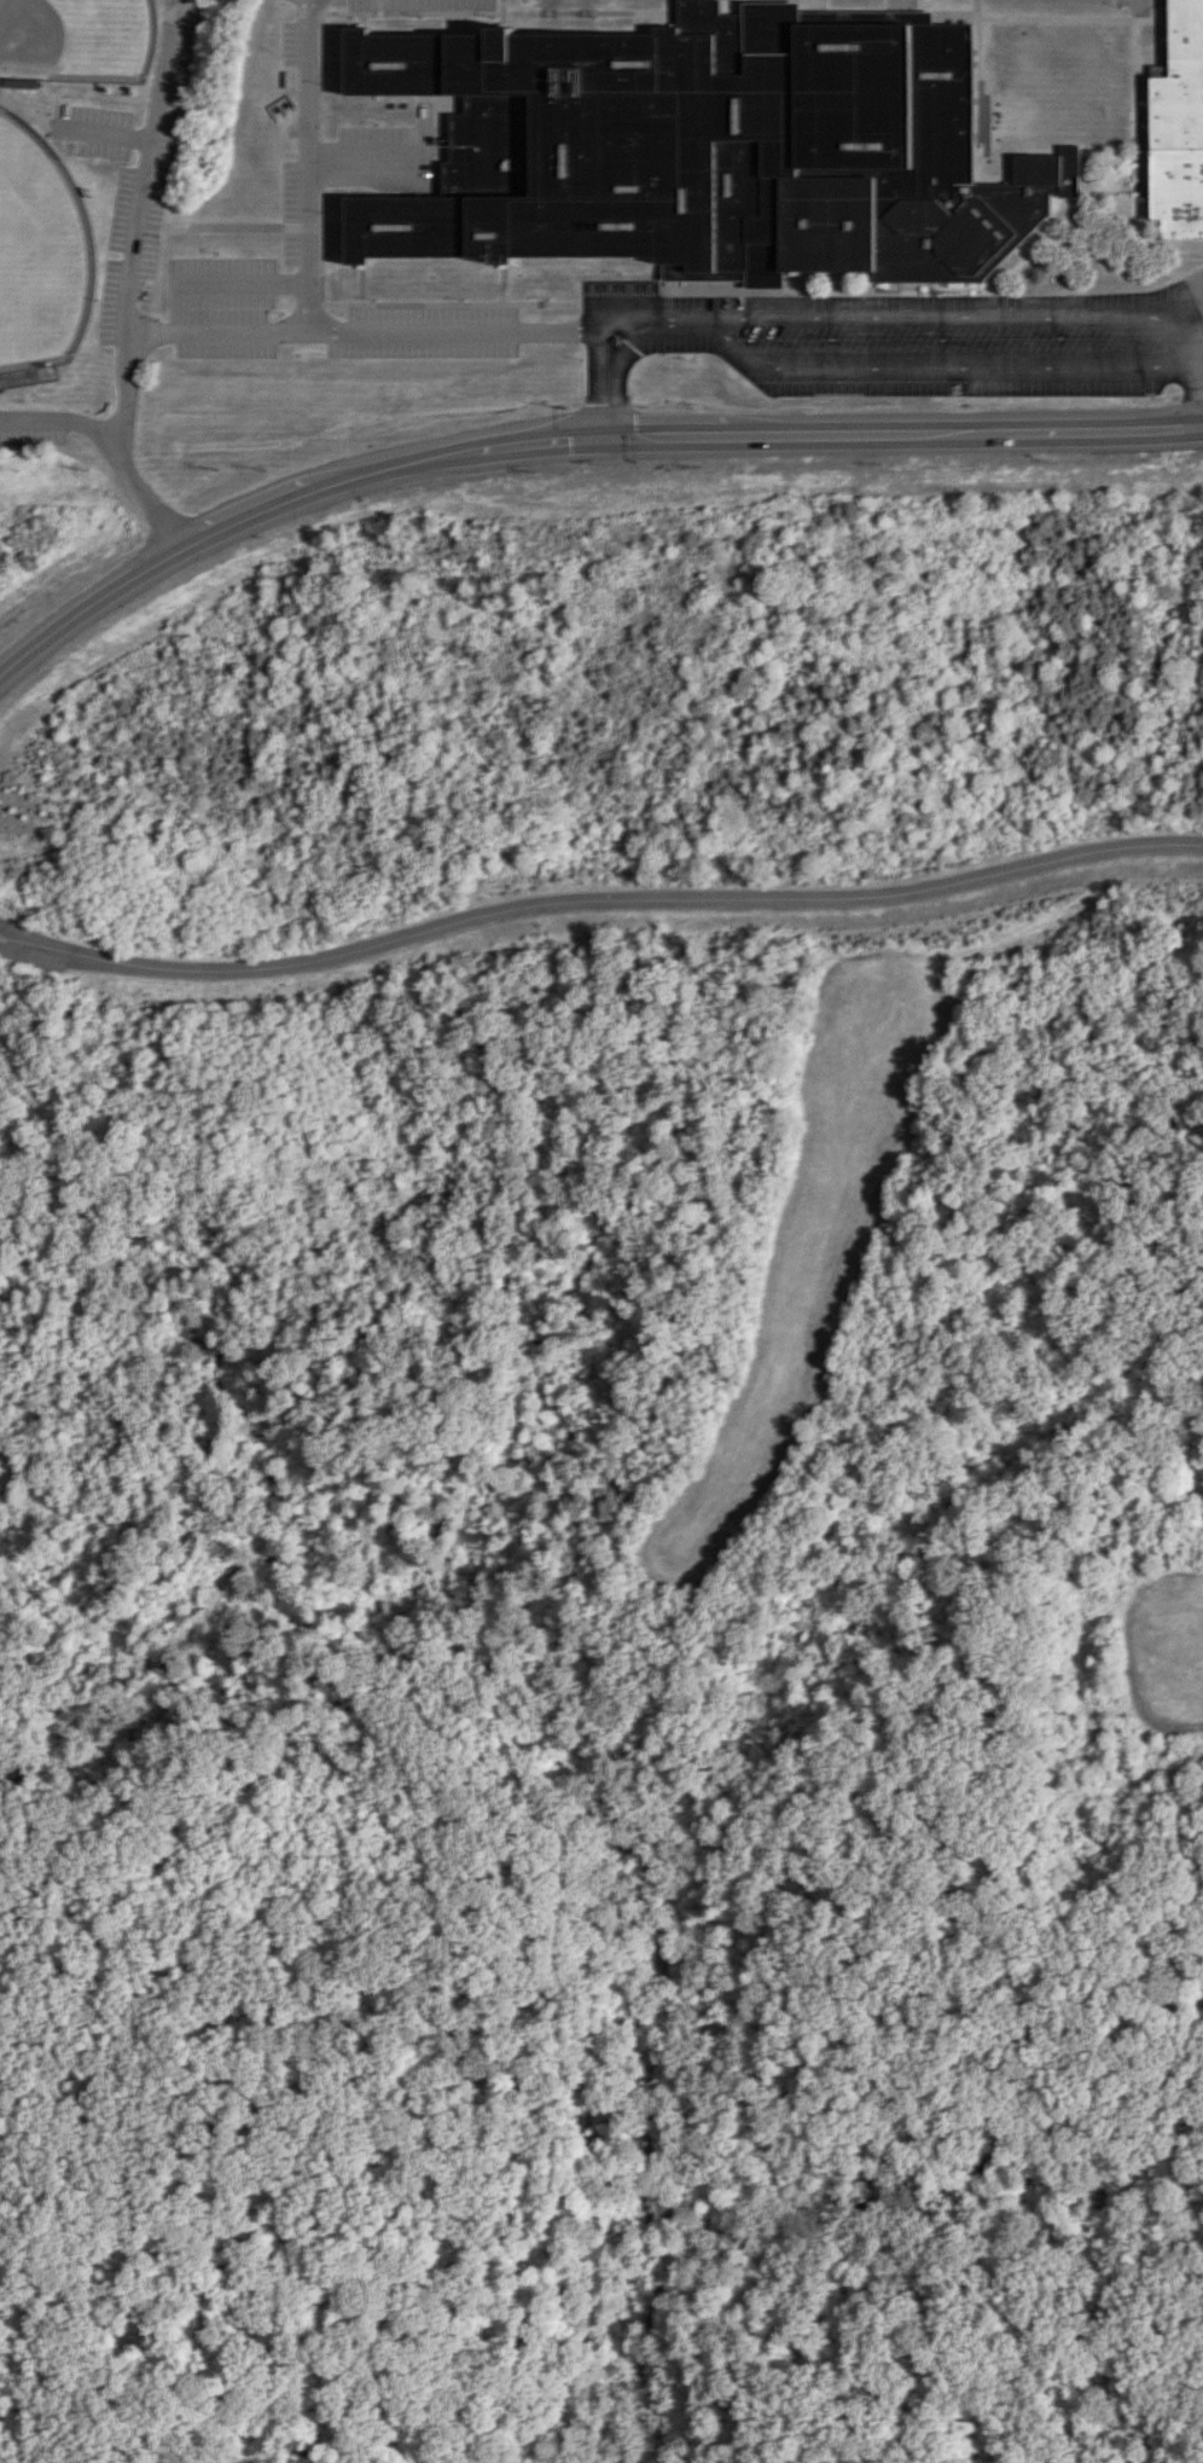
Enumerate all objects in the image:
park: (77, 41)
building: (1179, 127)
building: (723, 146)
road: (149, 226)
park: (40, 251)
road: (181, 307)
road: (310, 312)
road: (940, 314)
road: (1174, 326)
road: (608, 328)
road: (158, 332)
road: (1187, 357)
road: (942, 366)
road: (1093, 429)
road: (856, 433)
road: (668, 435)
traffic signals: (608, 437)
road: (541, 441)
road: (109, 452)
road: (440, 454)
road: (360, 476)
road: (248, 517)
road: (87, 607)
road: (637, 899)
road: (37, 937)
road: (58, 956)
road: (958, 2220)
road: (6, 2457)

